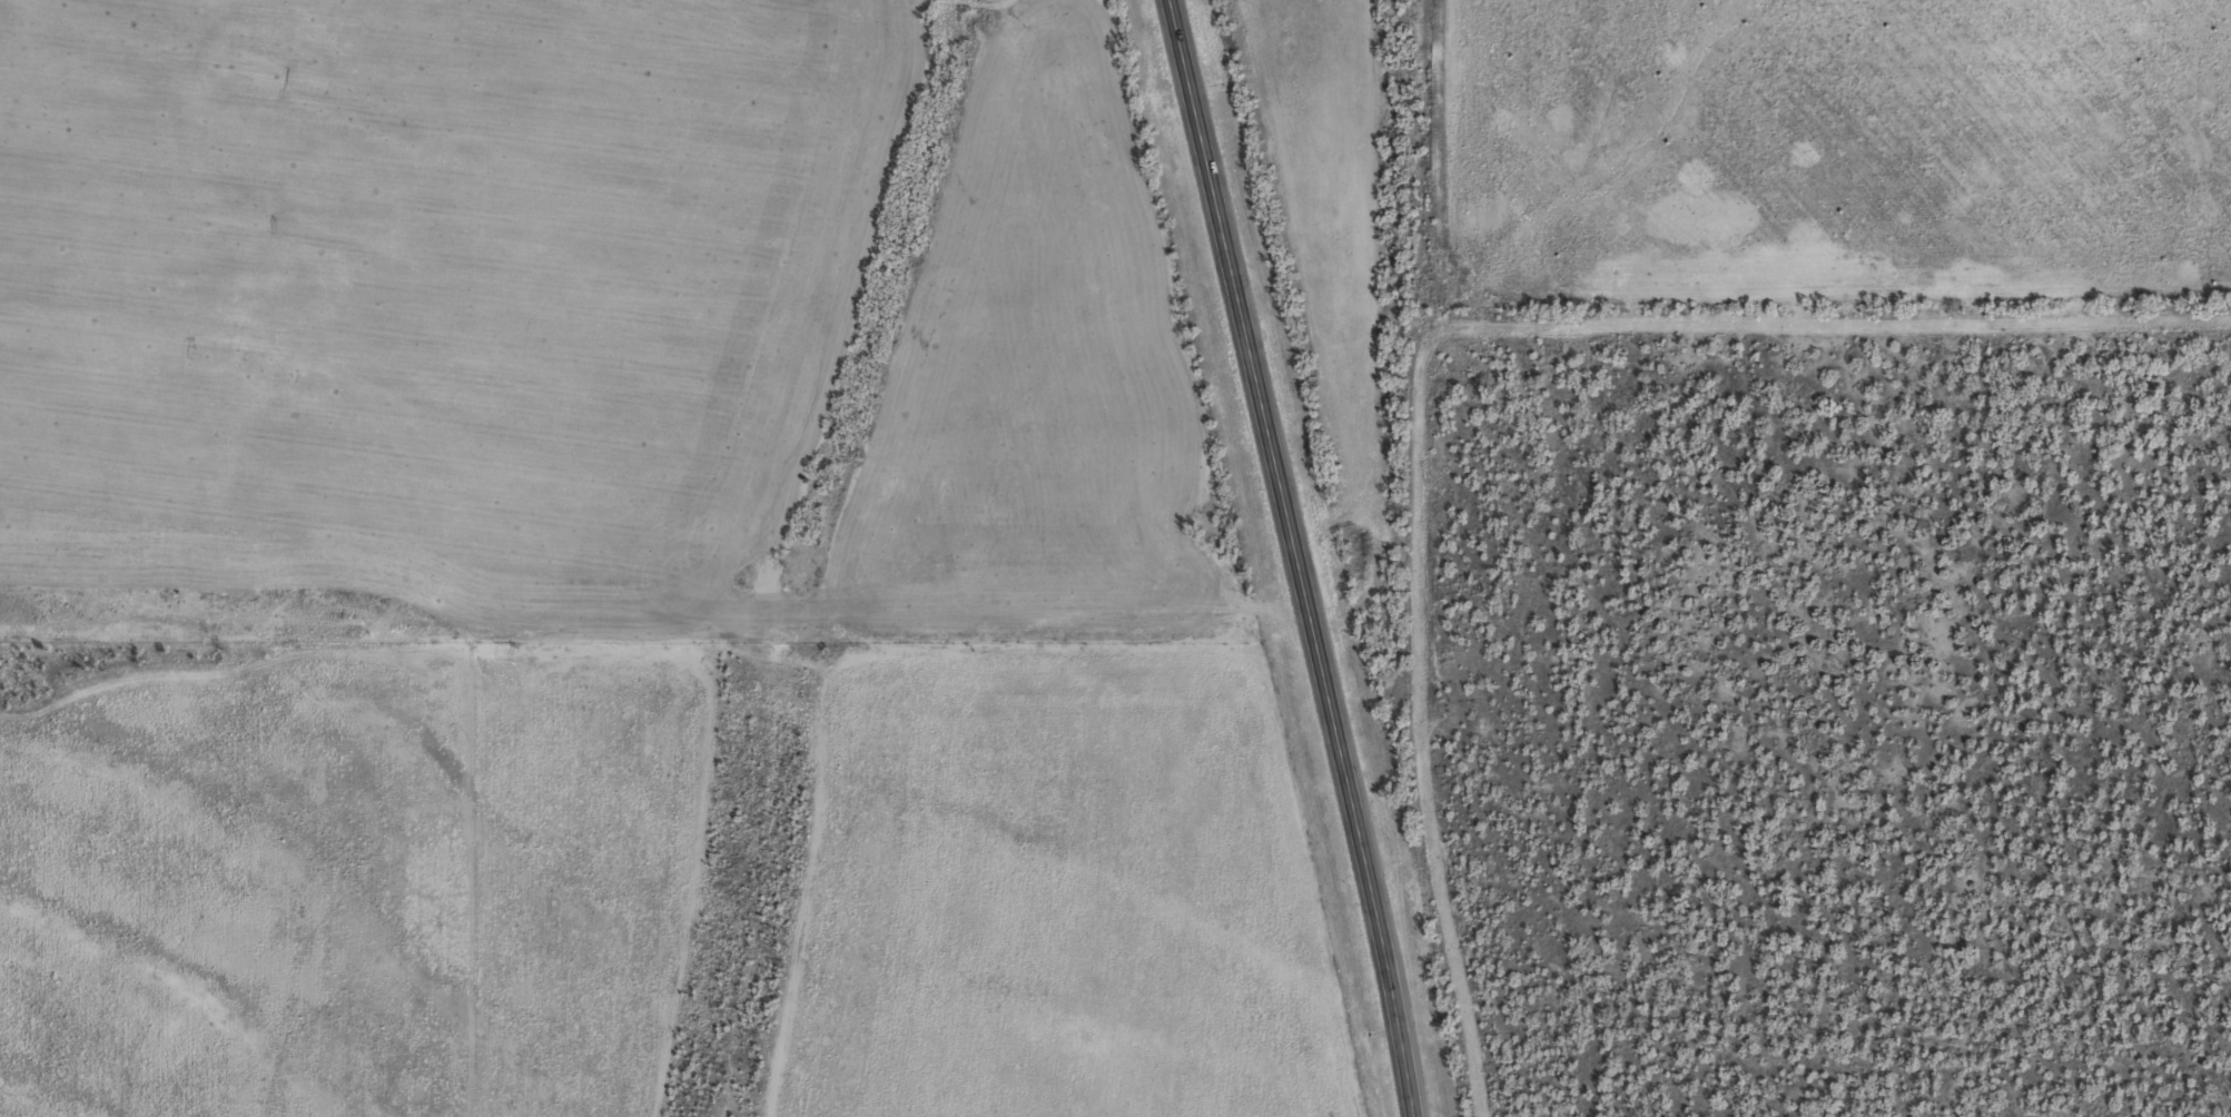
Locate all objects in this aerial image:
road: (1294, 557)

